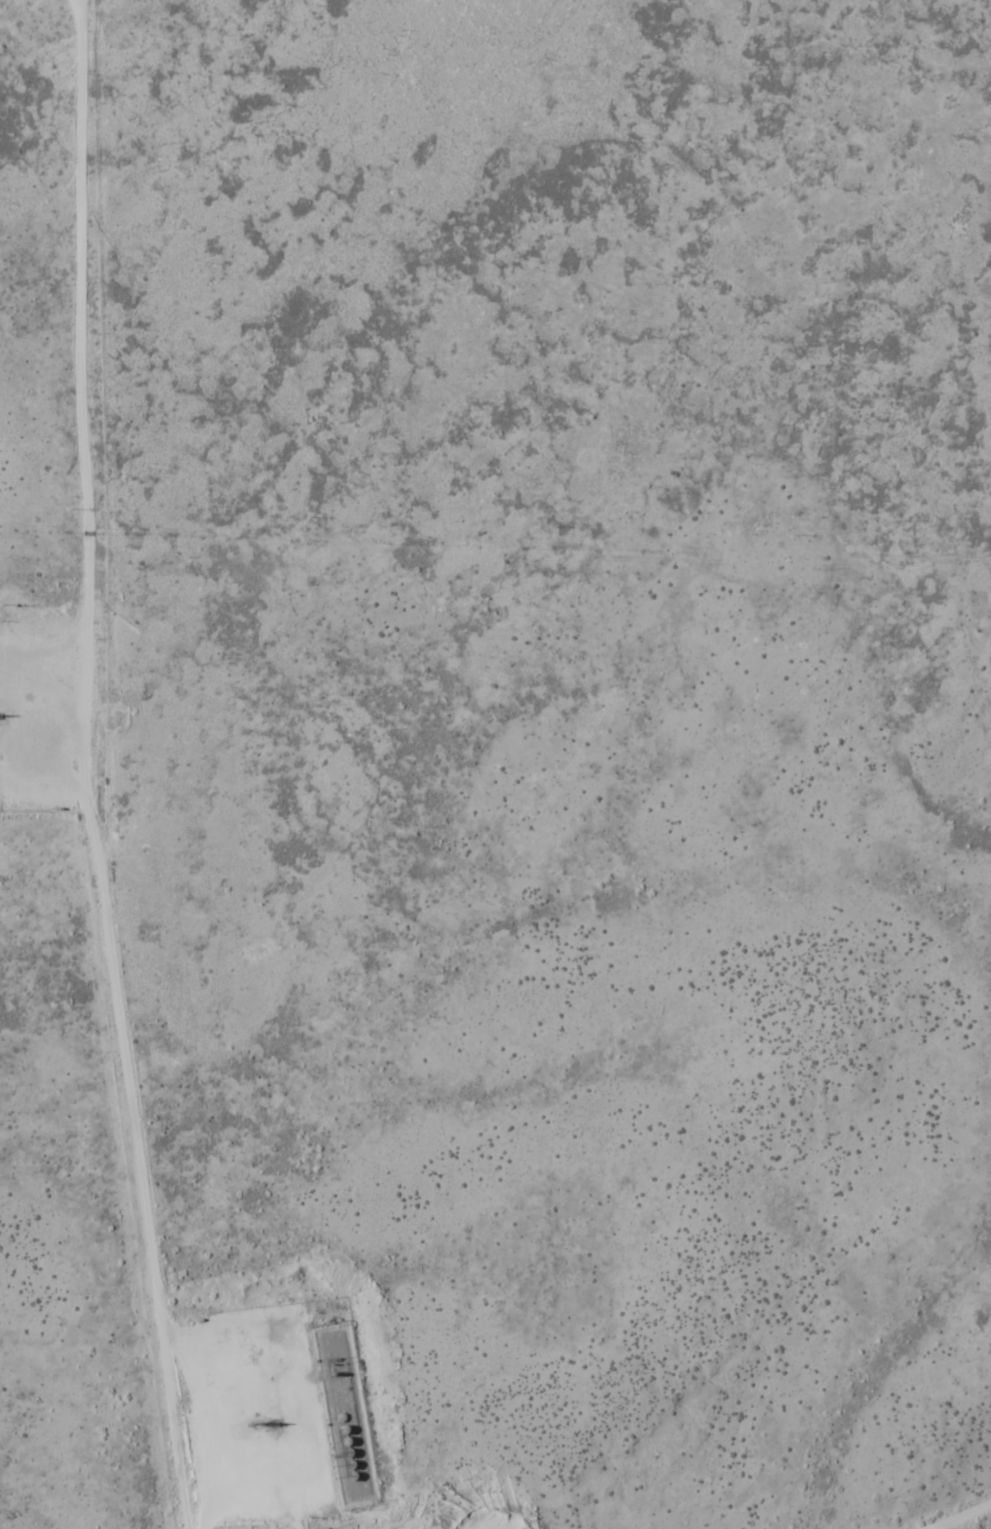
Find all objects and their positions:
road: (91, 749)
road: (46, 771)
road: (215, 1506)
road: (952, 1512)

